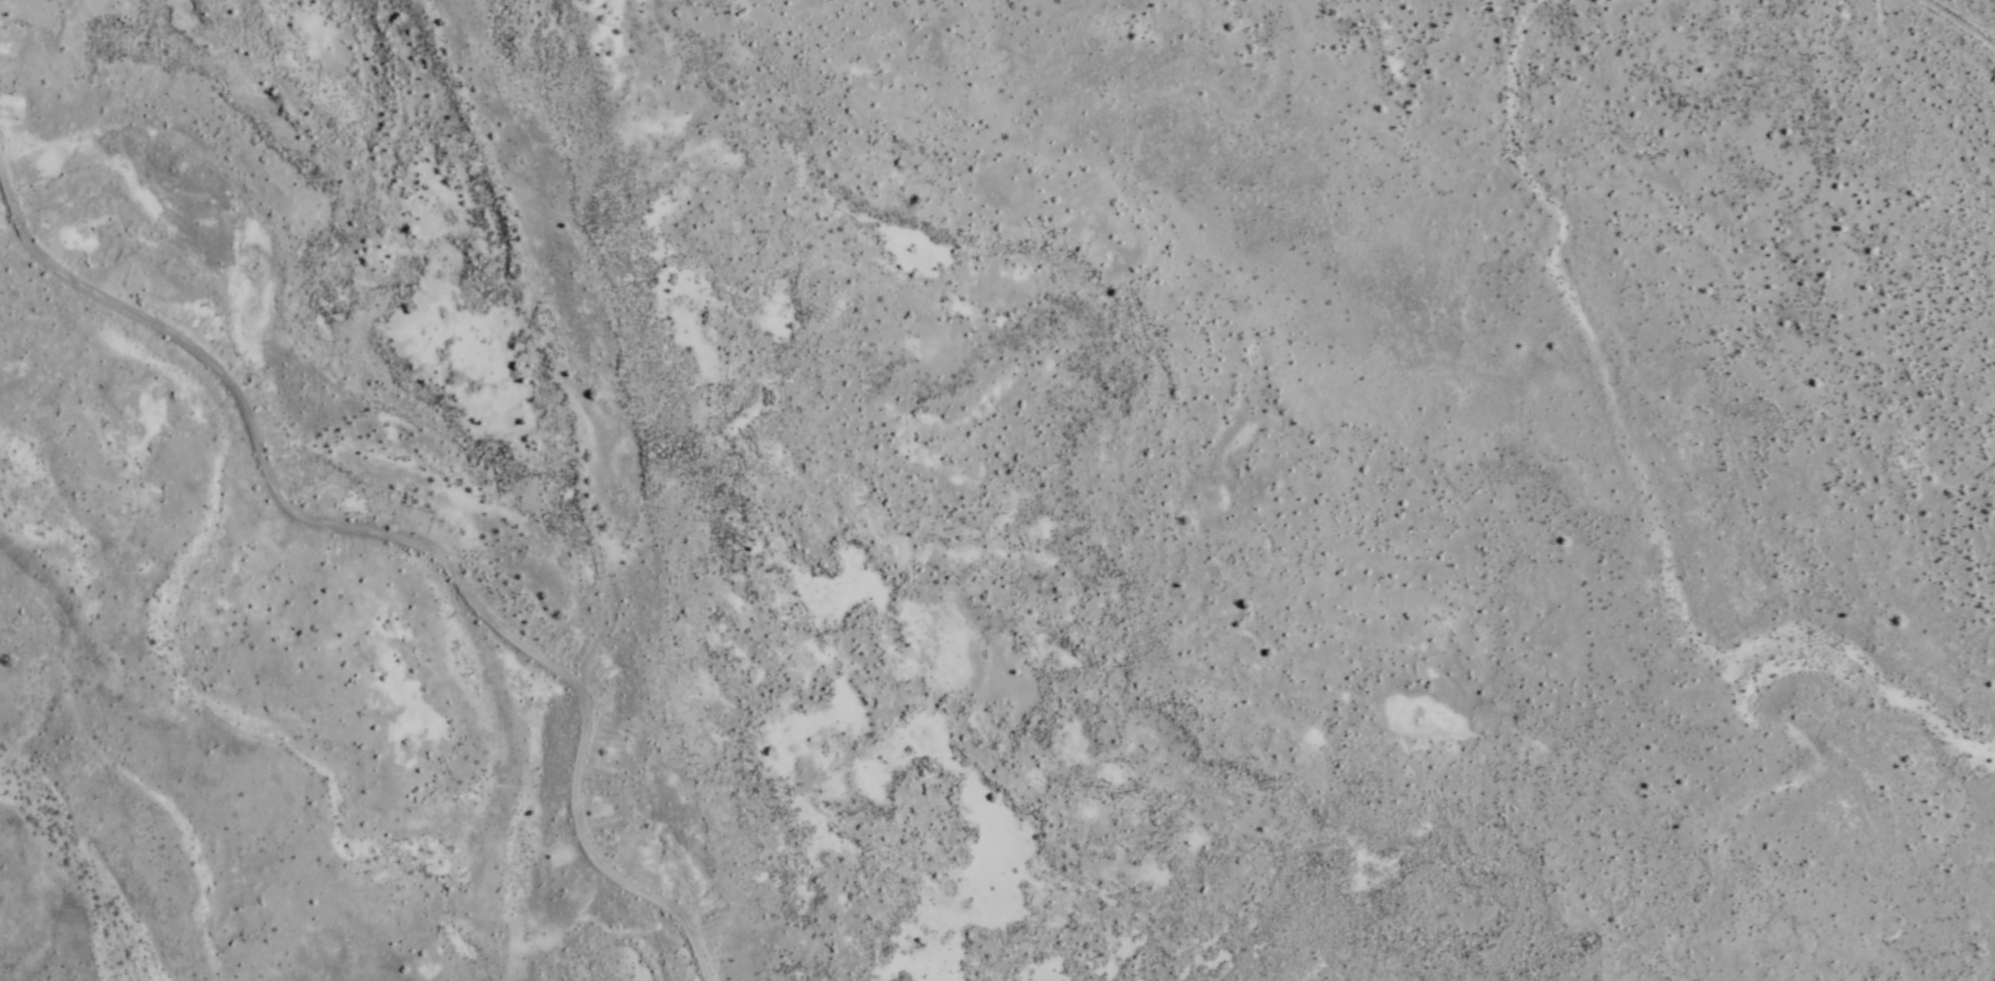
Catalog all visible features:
road: (407, 551)

